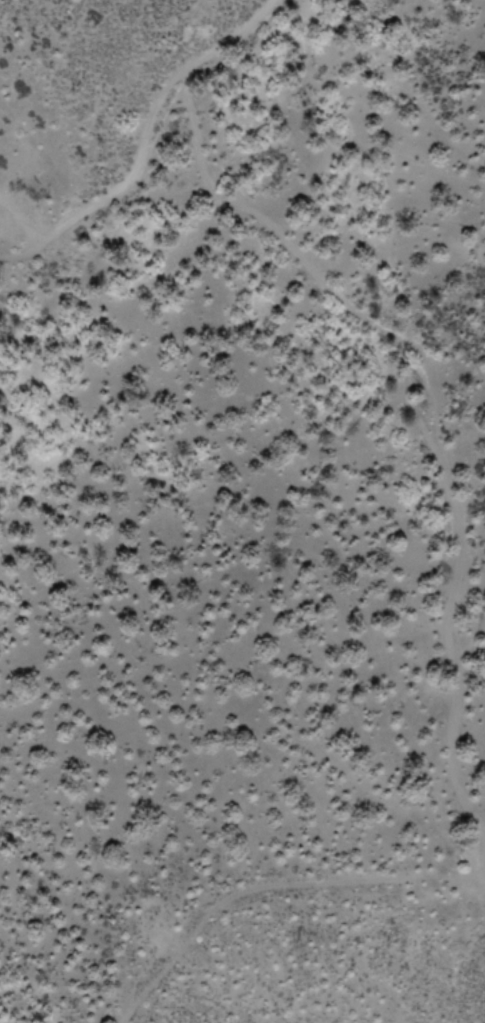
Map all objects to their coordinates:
road: (153, 137)

